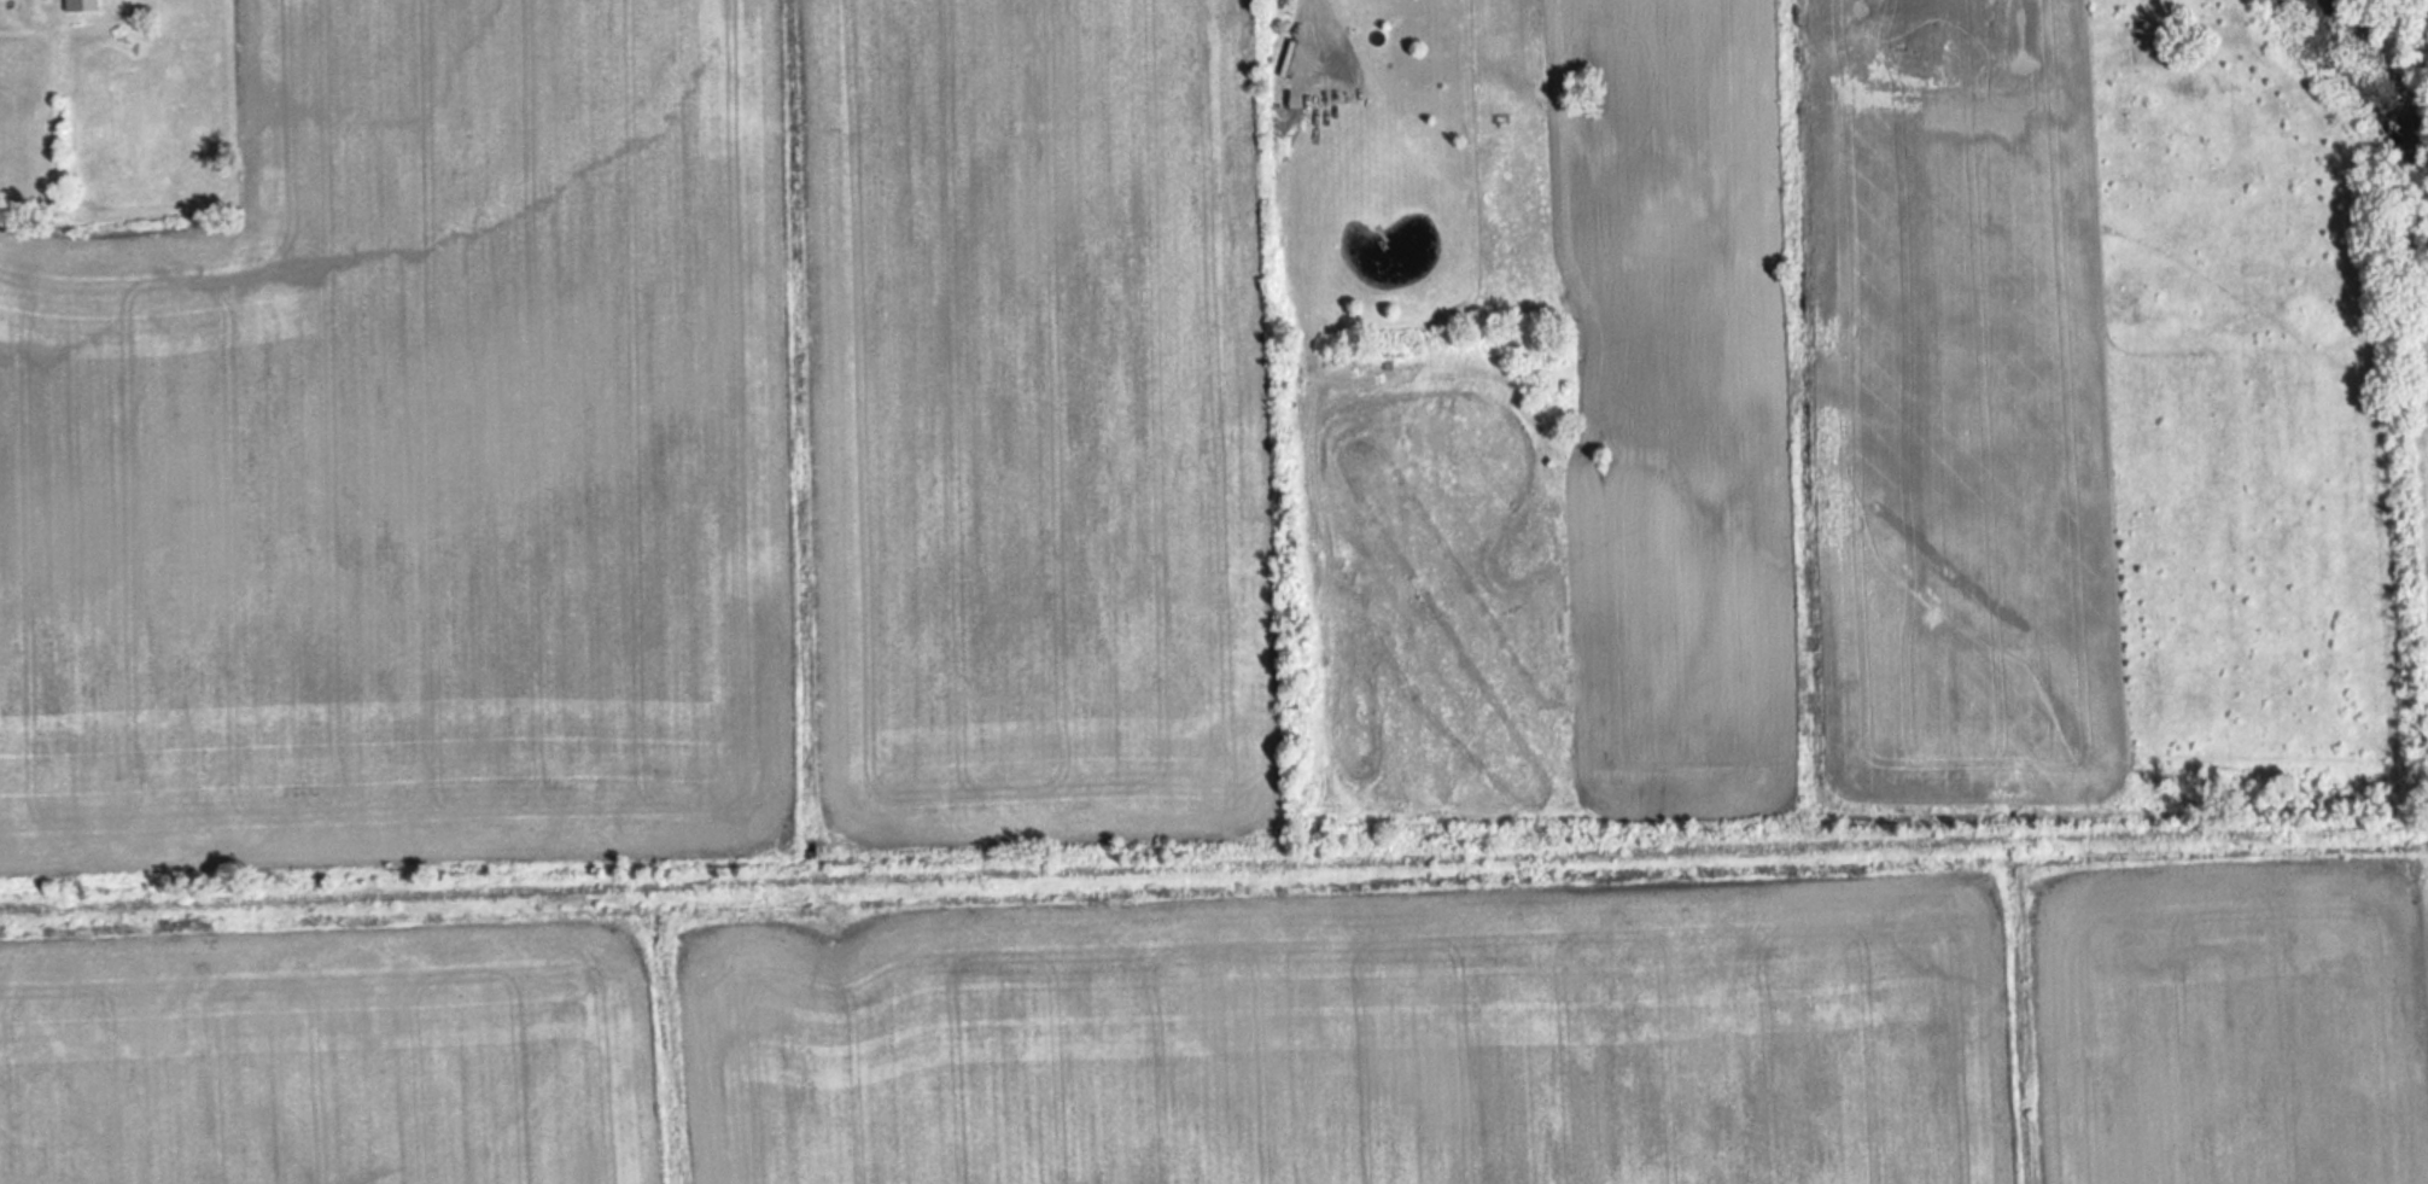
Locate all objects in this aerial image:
railway: (1214, 869)

